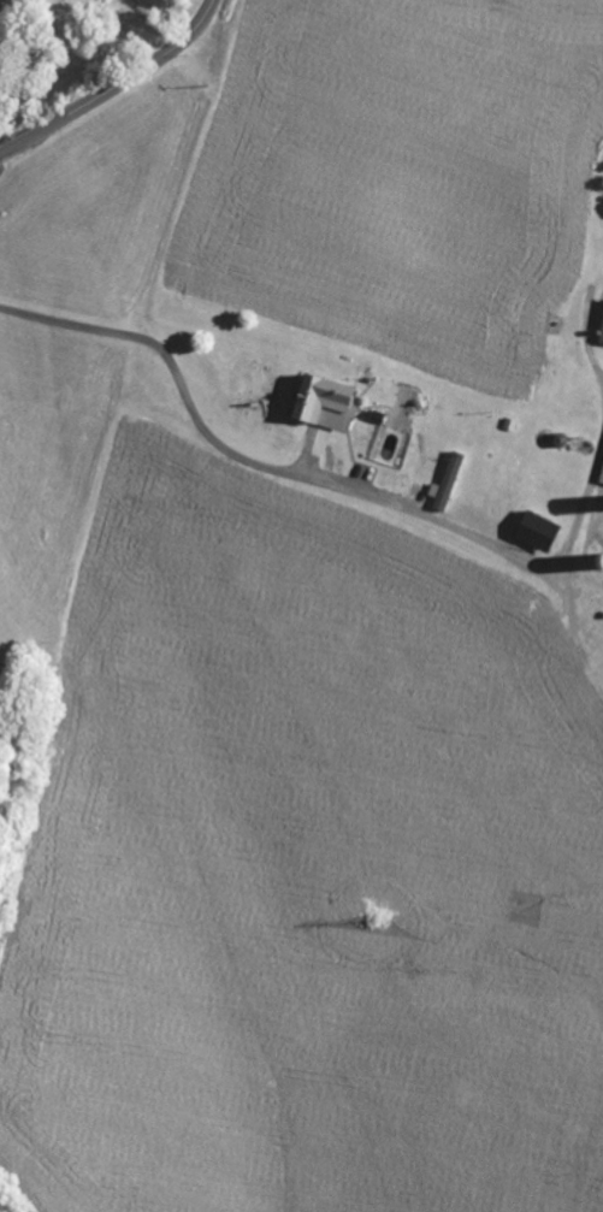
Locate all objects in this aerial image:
road: (114, 85)
building: (601, 336)
building: (323, 401)
road: (256, 463)
building: (601, 480)
building: (447, 484)
road: (584, 507)
building: (537, 531)
power tower: (374, 921)

